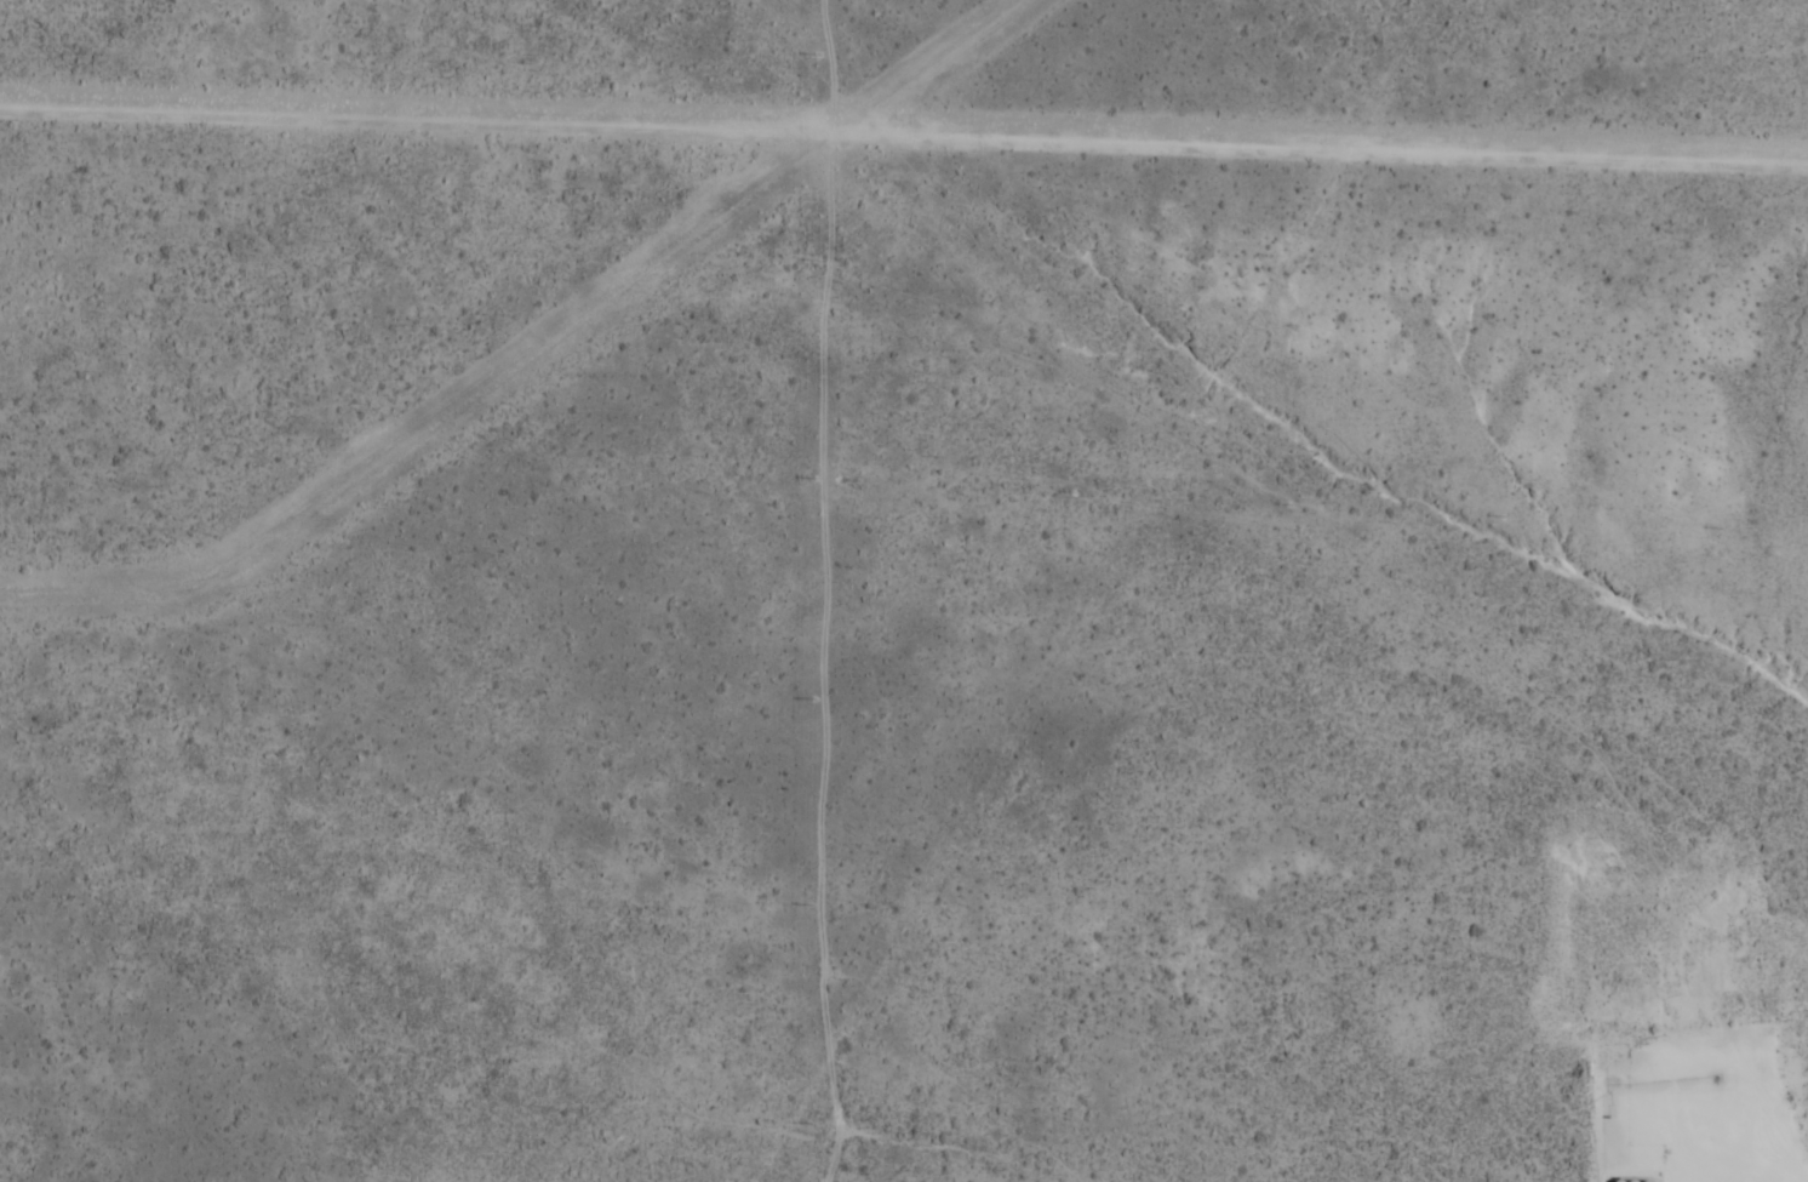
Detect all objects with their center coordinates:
road: (1697, 1107)

